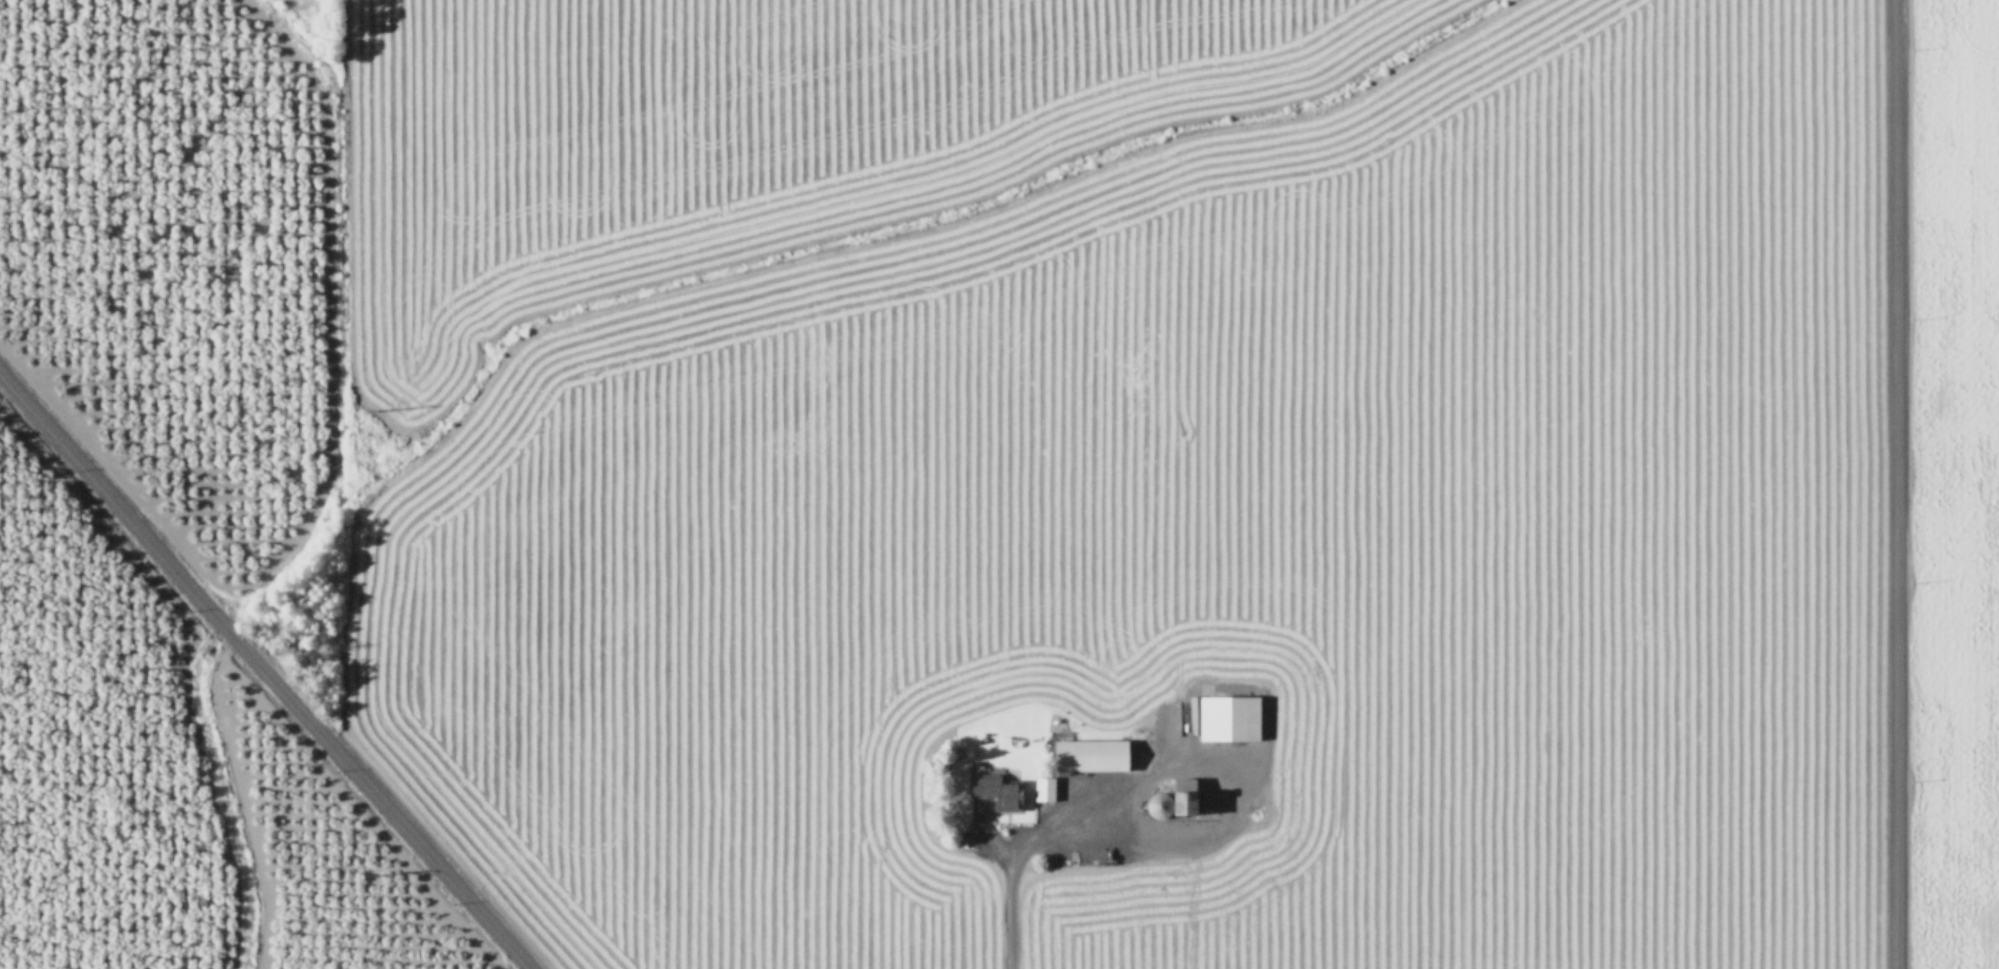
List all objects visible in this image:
crop: (1027, 451)
road: (1894, 484)
crop: (1956, 485)
road: (263, 672)
building: (1228, 715)
building: (1090, 752)
building: (1043, 785)
crop: (161, 787)
building: (996, 787)
building: (1173, 797)
road: (1009, 870)

